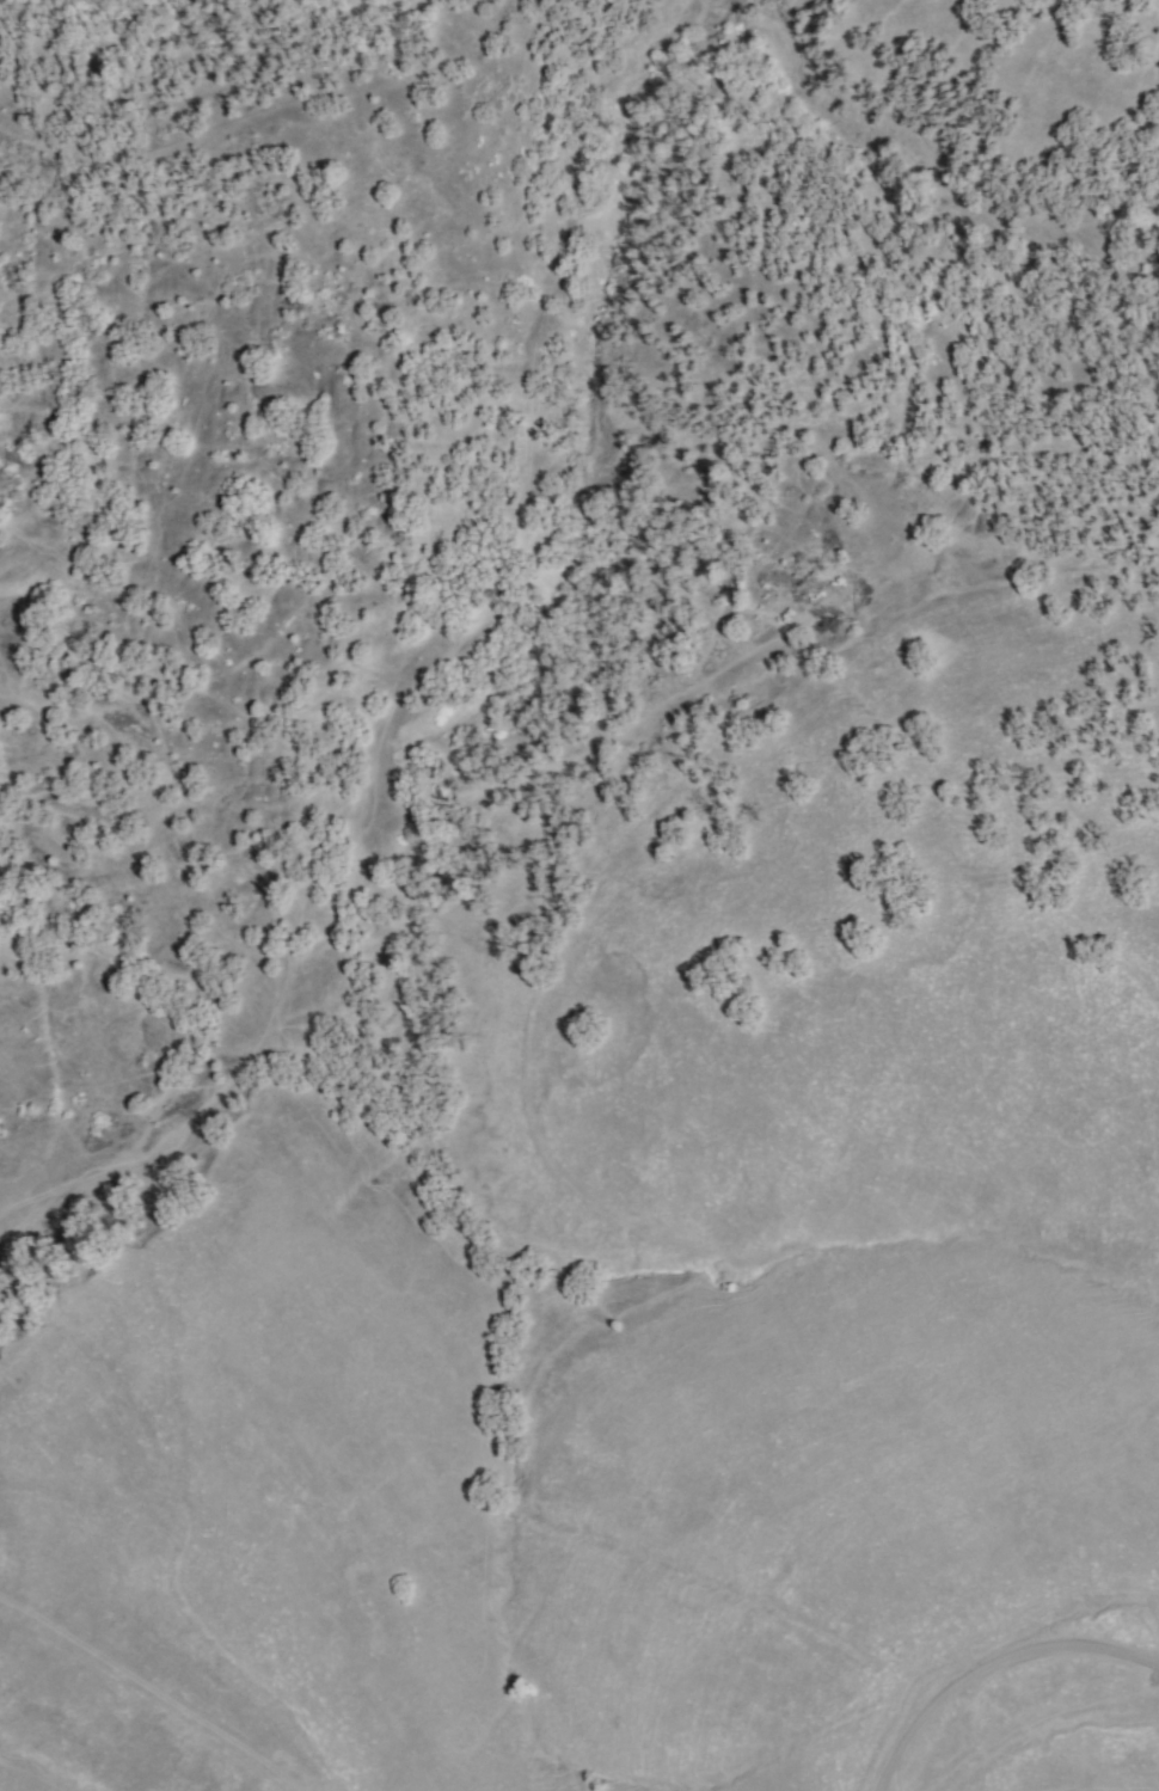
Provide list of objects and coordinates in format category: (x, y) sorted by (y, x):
road: (992, 1666)

